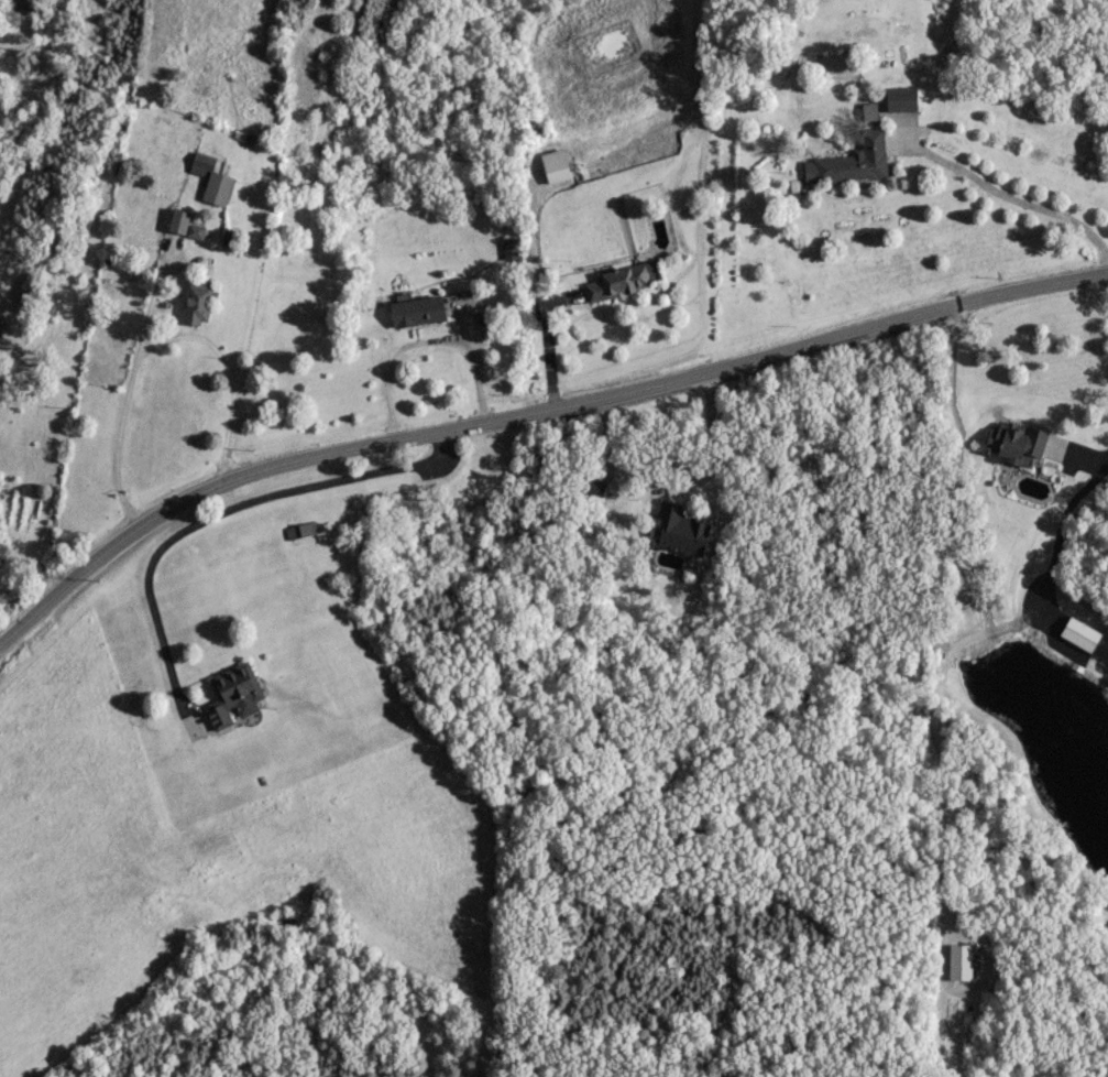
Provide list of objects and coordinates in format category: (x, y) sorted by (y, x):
building: (24, 6)
building: (899, 97)
building: (848, 160)
building: (553, 164)
building: (210, 177)
road: (1020, 205)
building: (182, 222)
building: (507, 251)
building: (621, 279)
building: (196, 298)
building: (416, 308)
road: (150, 338)
road: (424, 340)
road: (546, 348)
road: (530, 409)
building: (1013, 439)
road: (1087, 459)
building: (594, 486)
road: (663, 490)
road: (218, 512)
building: (299, 529)
building: (679, 529)
building: (1078, 632)
building: (231, 693)
building: (958, 960)

